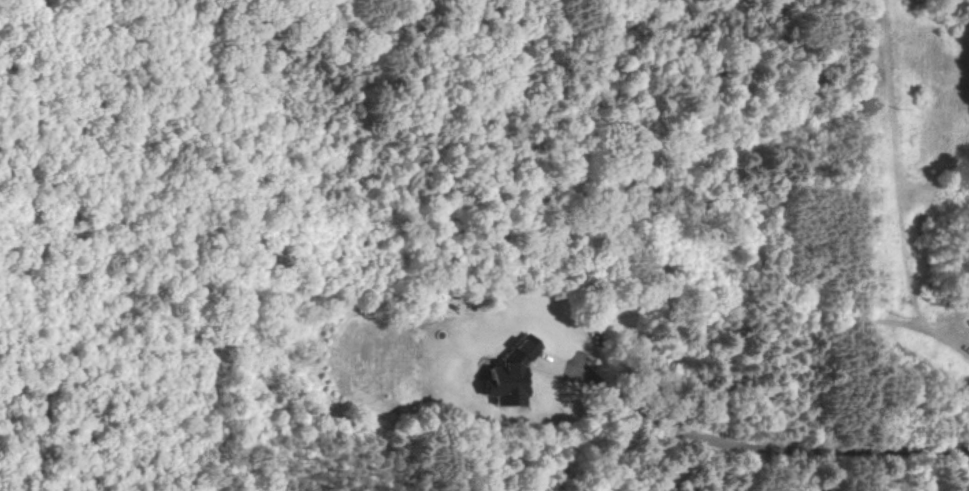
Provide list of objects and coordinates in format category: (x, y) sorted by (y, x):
building: (515, 374)
road: (761, 445)

